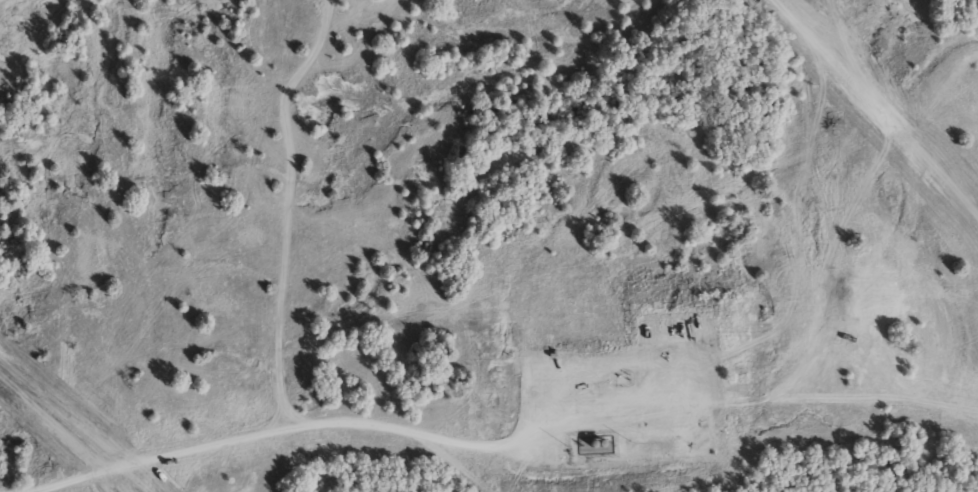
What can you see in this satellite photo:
road: (291, 433)

